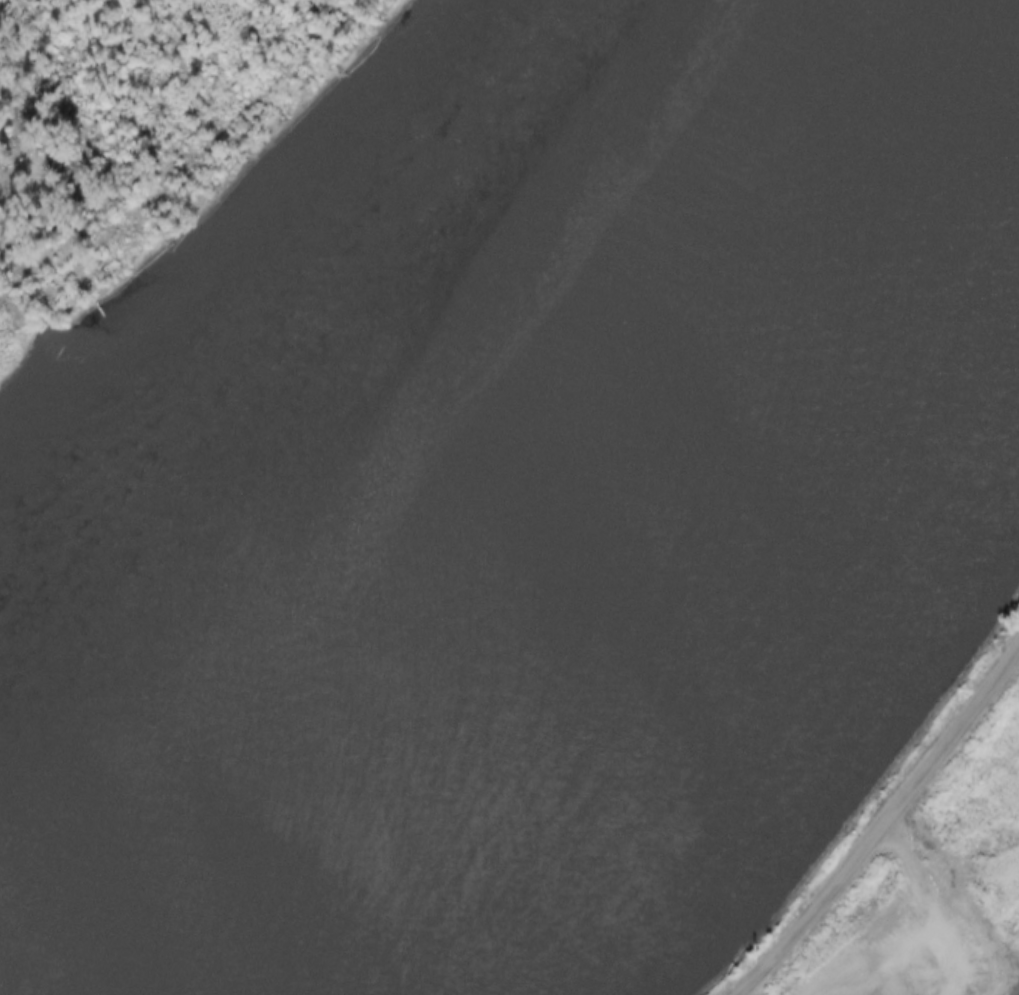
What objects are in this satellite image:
river: (397, 376)
road: (881, 823)
road: (936, 909)
petroleum well: (902, 993)

